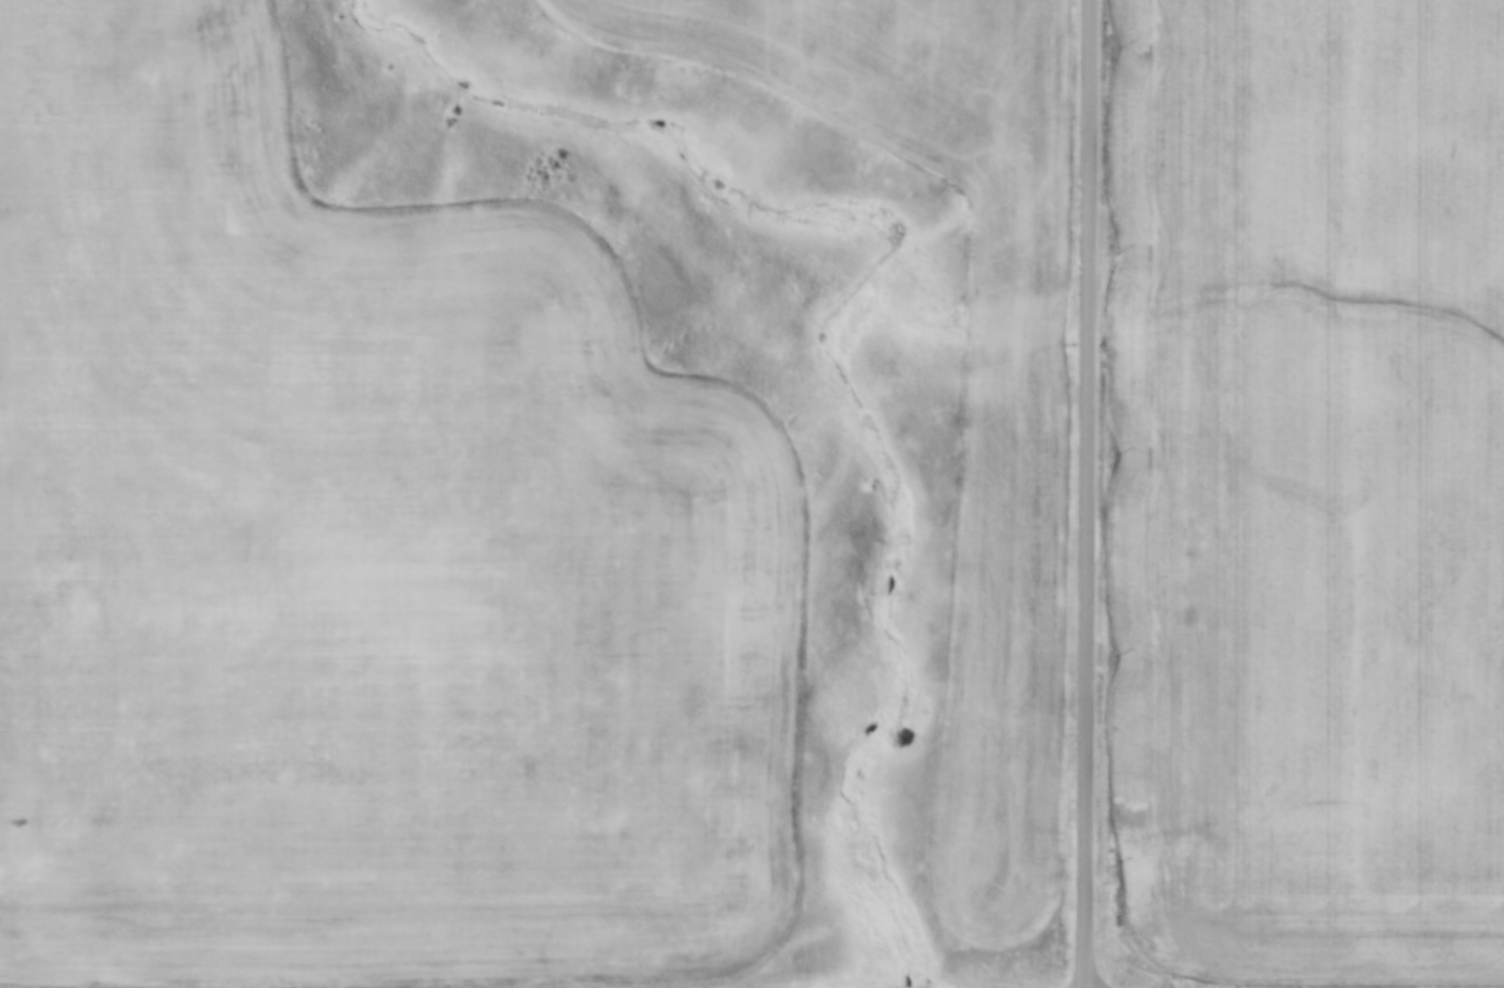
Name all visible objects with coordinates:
road: (1090, 493)

